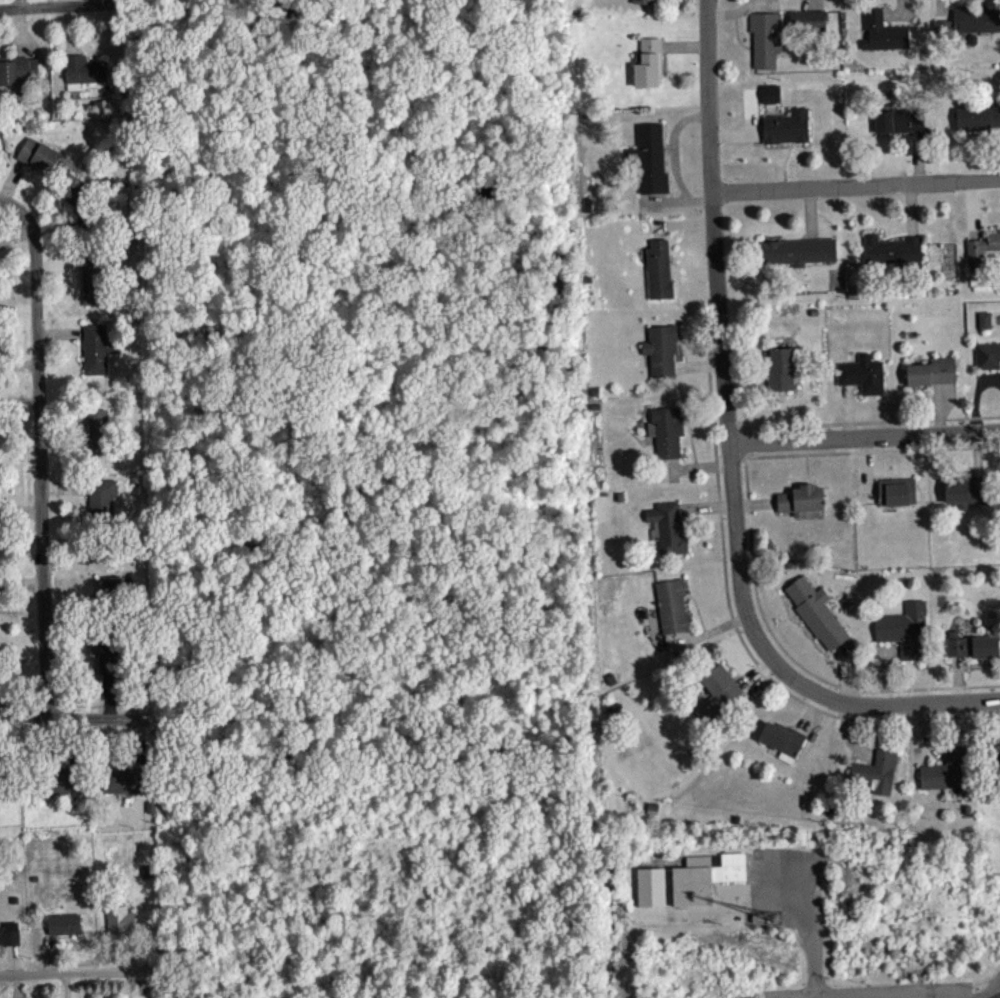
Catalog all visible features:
building: (644, 1)
road: (56, 5)
building: (808, 17)
building: (975, 17)
building: (882, 31)
building: (765, 37)
building: (647, 62)
building: (83, 70)
building: (21, 73)
building: (773, 98)
building: (977, 117)
building: (899, 120)
building: (786, 126)
building: (38, 154)
building: (649, 158)
road: (855, 183)
building: (81, 202)
building: (983, 243)
road: (272, 248)
building: (892, 249)
building: (798, 250)
building: (658, 269)
building: (93, 275)
building: (984, 319)
road: (722, 346)
building: (97, 348)
building: (660, 348)
building: (987, 355)
building: (780, 369)
building: (930, 372)
building: (861, 373)
road: (864, 421)
building: (665, 430)
building: (98, 431)
road: (865, 436)
road: (39, 449)
road: (737, 457)
building: (896, 491)
building: (965, 491)
building: (801, 499)
building: (102, 500)
building: (1, 509)
building: (667, 526)
road: (751, 543)
building: (110, 593)
building: (672, 606)
building: (816, 611)
road: (735, 627)
building: (903, 628)
road: (285, 632)
building: (972, 645)
building: (106, 653)
building: (0, 655)
building: (718, 690)
road: (893, 704)
road: (549, 710)
road: (73, 716)
road: (165, 719)
building: (782, 739)
building: (994, 751)
road: (216, 752)
building: (1, 757)
building: (998, 759)
building: (944, 768)
road: (535, 769)
building: (875, 772)
building: (126, 780)
building: (67, 781)
road: (184, 871)
building: (704, 876)
building: (651, 886)
building: (120, 919)
building: (63, 923)
building: (9, 936)
road: (814, 945)
road: (82, 976)
road: (173, 979)
parking lot: (899, 990)
road: (992, 990)
road: (228, 993)

